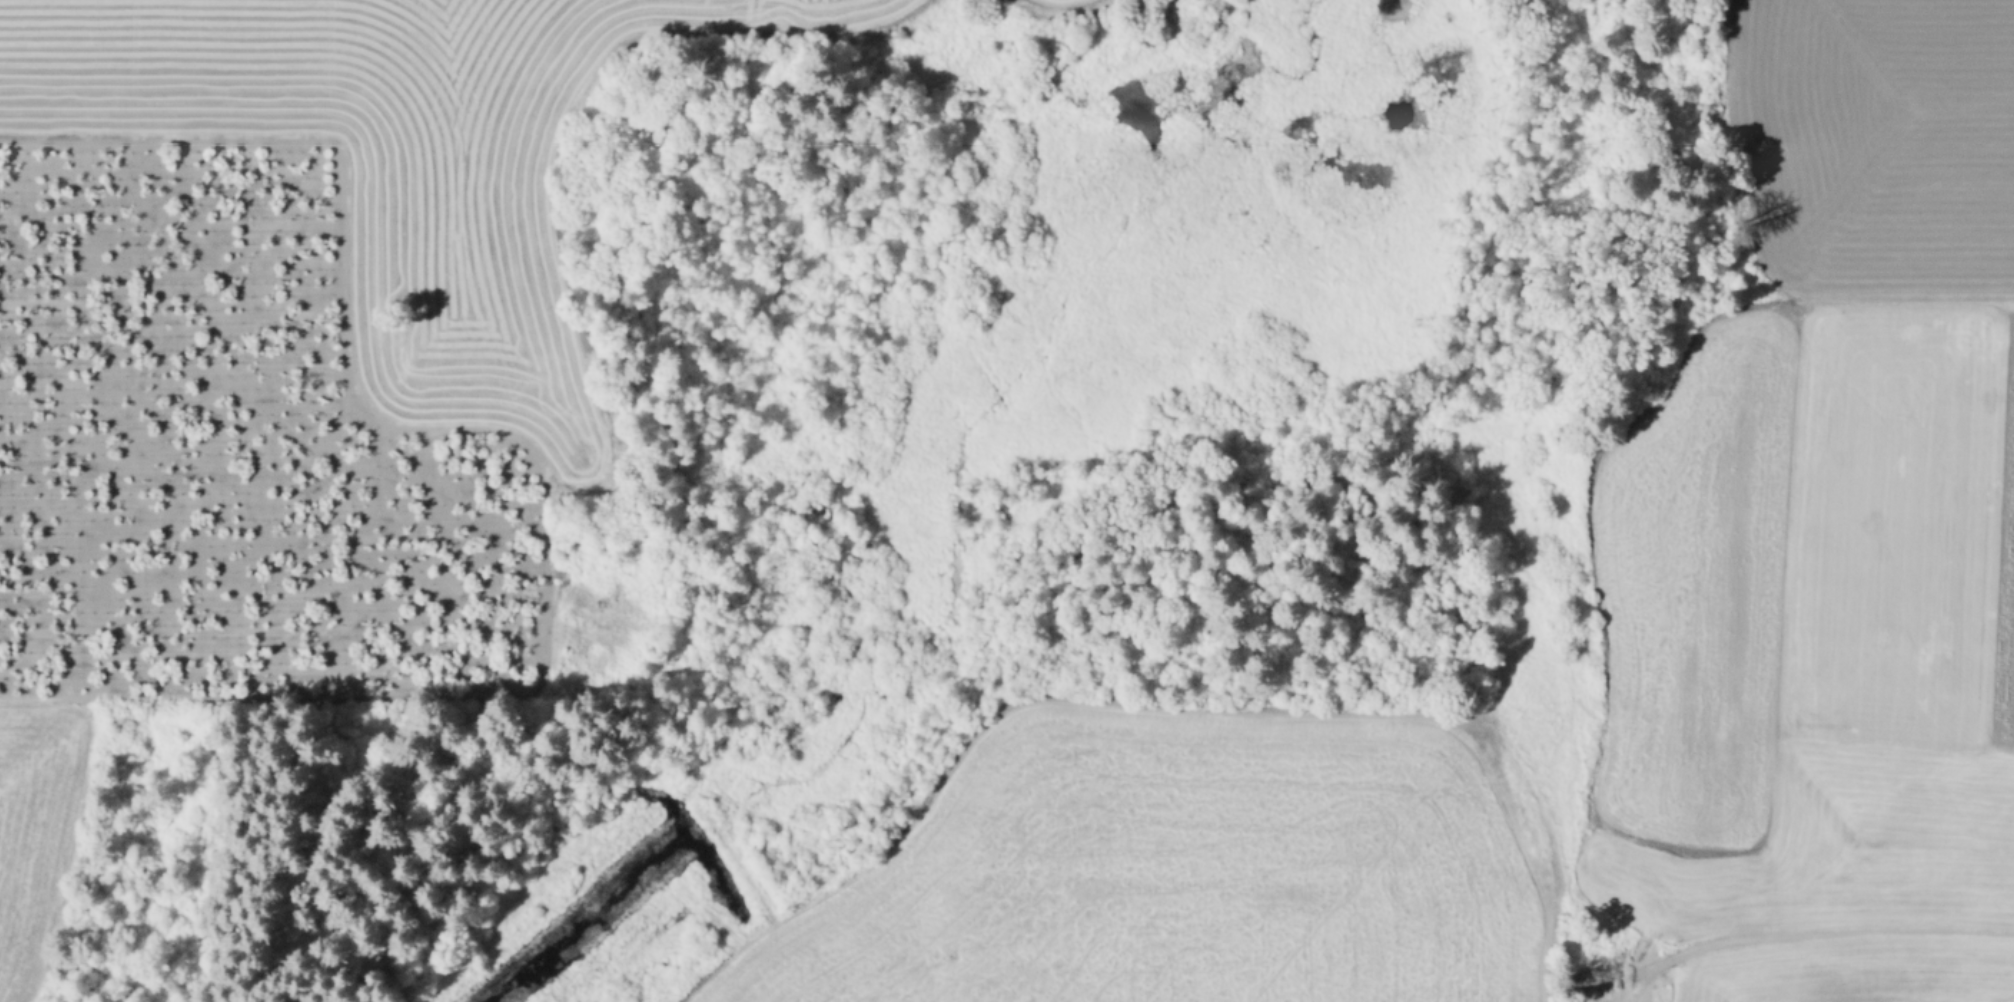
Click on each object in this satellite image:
crop: (378, 151)
road: (529, 453)
road: (1807, 930)

